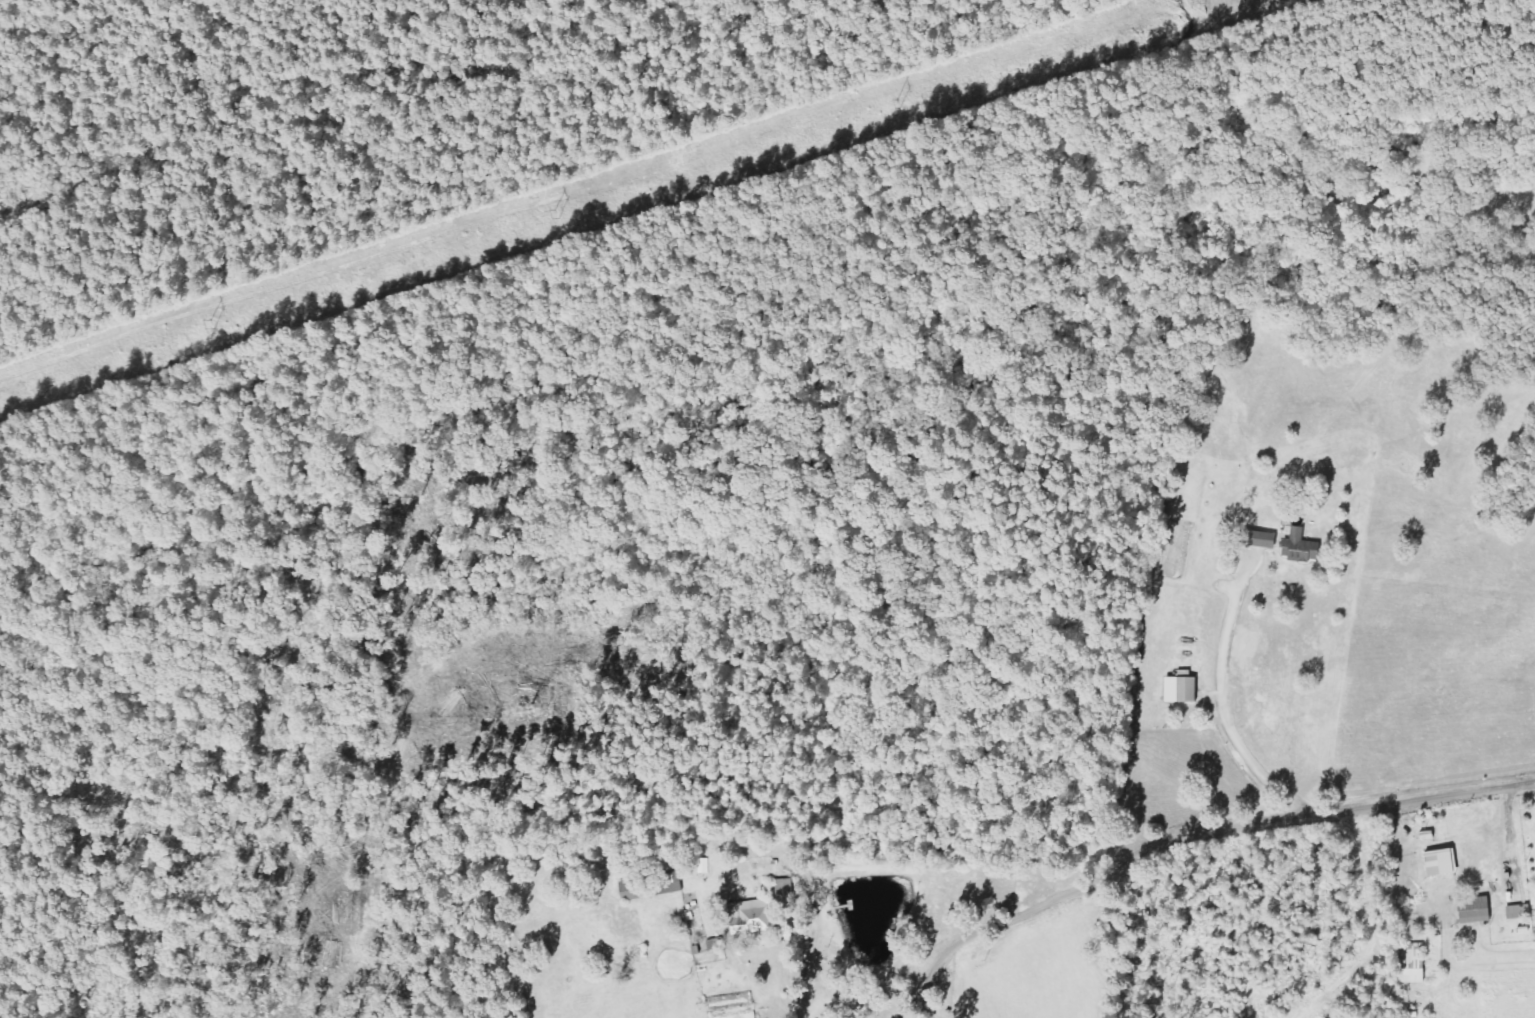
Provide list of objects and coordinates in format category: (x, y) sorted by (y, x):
building: (1270, 539)
building: (1305, 547)
building: (1186, 690)
road: (1224, 861)
building: (1446, 862)
building: (654, 886)
building: (1479, 910)
building: (1523, 912)
building: (755, 917)
building: (1417, 963)
road: (801, 979)

